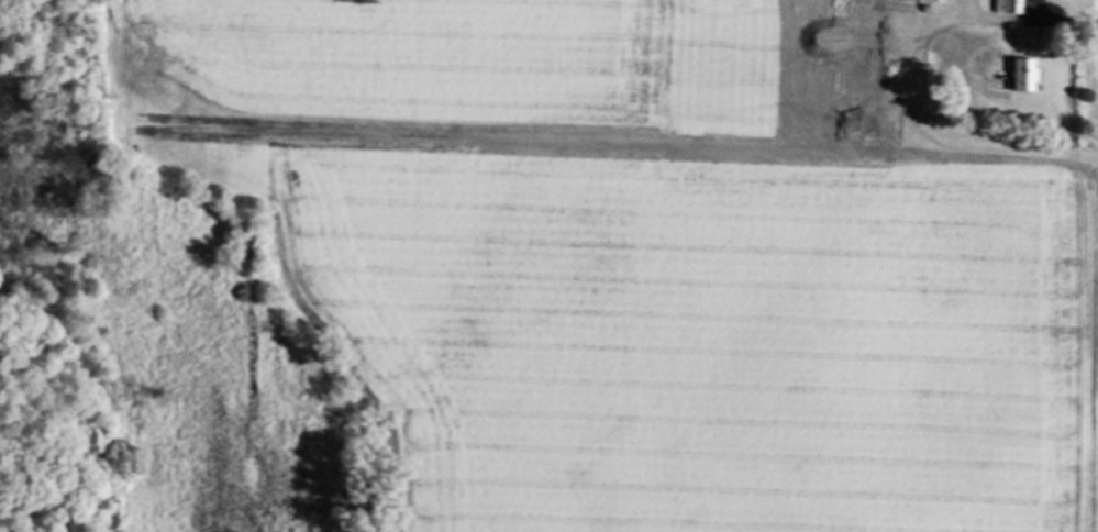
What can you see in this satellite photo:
building: (1007, 5)
building: (1020, 75)

